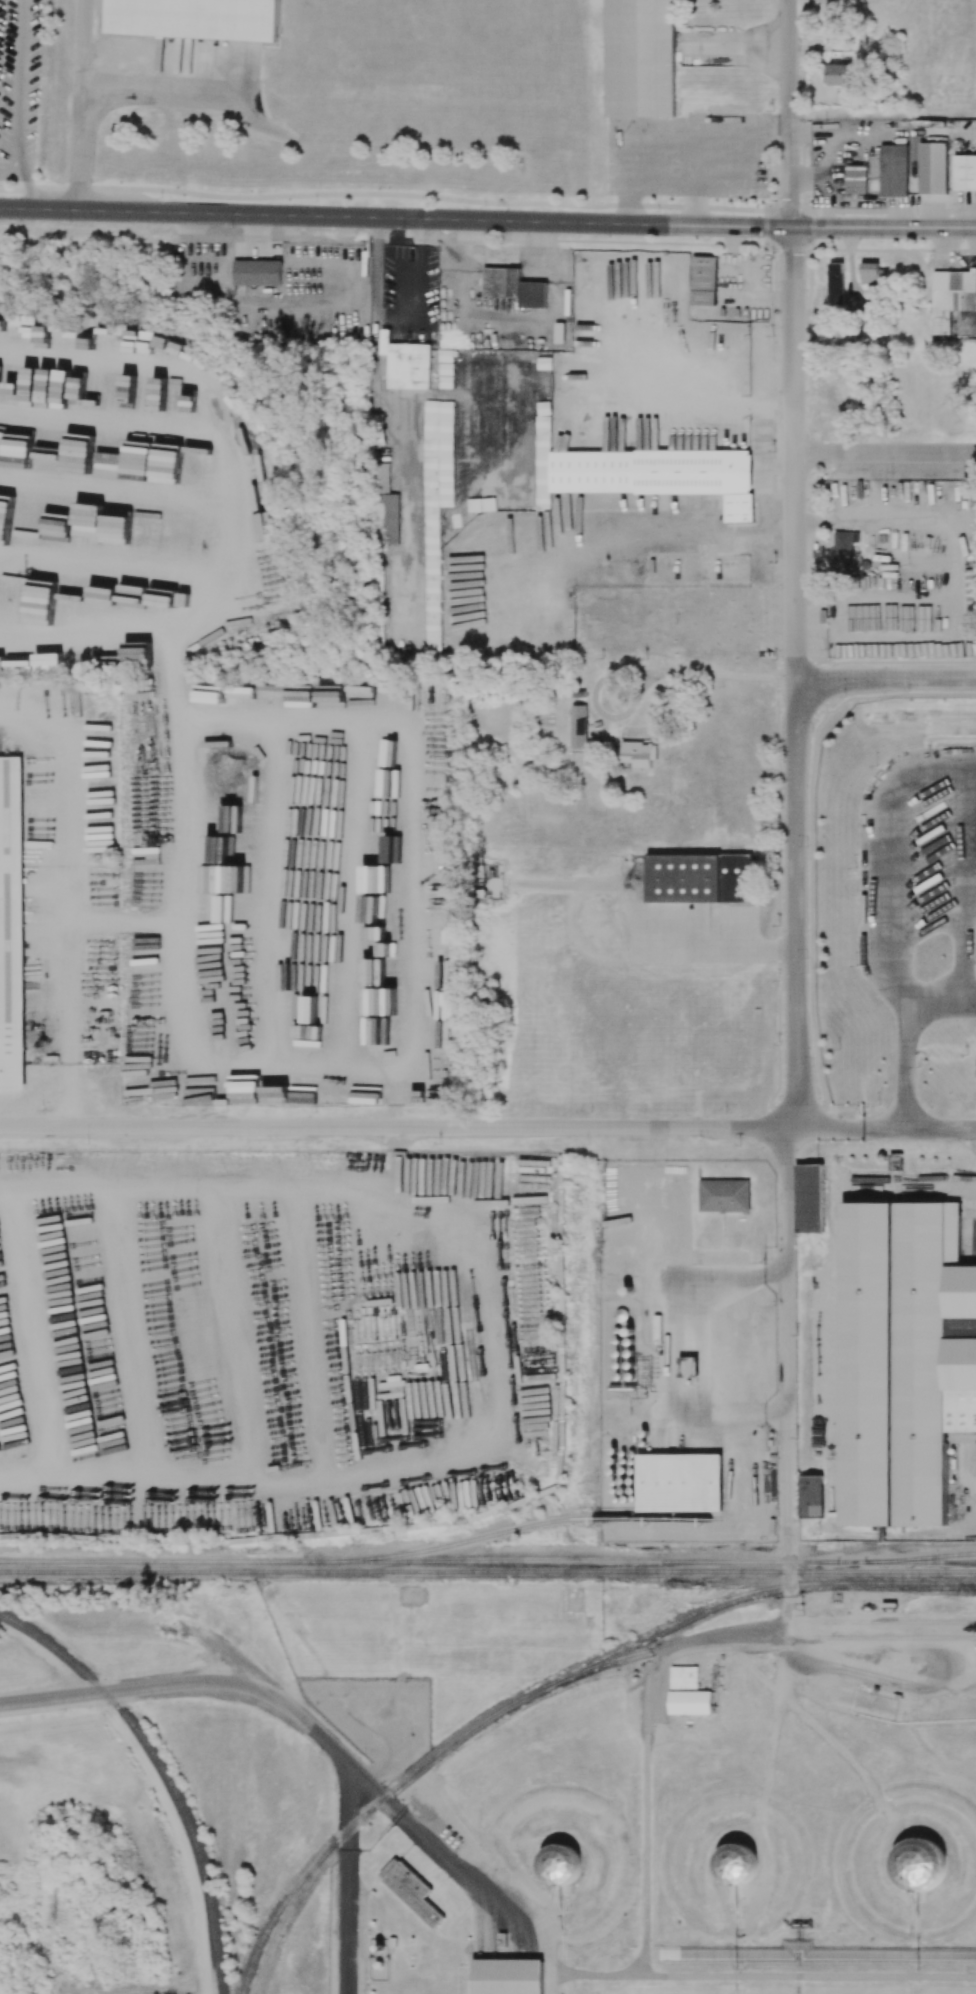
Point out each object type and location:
building: (196, 18)
road: (787, 57)
building: (642, 59)
parking lot: (18, 82)
road: (18, 84)
park: (25, 85)
road: (158, 91)
road: (81, 104)
road: (882, 115)
road: (725, 123)
road: (666, 166)
building: (933, 167)
road: (7, 168)
building: (894, 170)
building: (965, 172)
building: (856, 178)
road: (27, 182)
road: (395, 195)
road: (881, 210)
road: (487, 219)
road: (950, 254)
building: (257, 272)
road: (375, 273)
building: (513, 287)
building: (404, 363)
building: (544, 363)
road: (884, 452)
building: (438, 454)
building: (387, 503)
building: (432, 548)
road: (629, 551)
road: (208, 601)
road: (793, 620)
road: (639, 673)
road: (884, 678)
building: (578, 726)
building: (639, 754)
road: (921, 777)
road: (407, 817)
building: (698, 878)
road: (65, 896)
building: (12, 926)
road: (903, 1037)
road: (225, 1058)
road: (396, 1125)
road: (883, 1128)
road: (198, 1182)
building: (723, 1195)
building: (808, 1198)
building: (962, 1327)
road: (789, 1338)
building: (901, 1360)
building: (689, 1369)
railway: (961, 1436)
road: (409, 1450)
building: (679, 1482)
building: (810, 1496)
railway: (419, 1551)
railway: (926, 1557)
railway: (56, 1561)
railway: (659, 1561)
railway: (61, 1571)
railway: (549, 1571)
railway: (759, 1590)
railway: (765, 1625)
railway: (822, 1637)
building: (683, 1677)
road: (186, 1683)
building: (689, 1702)
road: (646, 1735)
railway: (435, 1756)
railway: (162, 1772)
road: (415, 1825)
building: (735, 1864)
building: (917, 1865)
building: (558, 1866)
road: (345, 1878)
building: (410, 1890)
railway: (272, 1918)
railway: (282, 1920)
road: (540, 1926)
building: (507, 1976)

